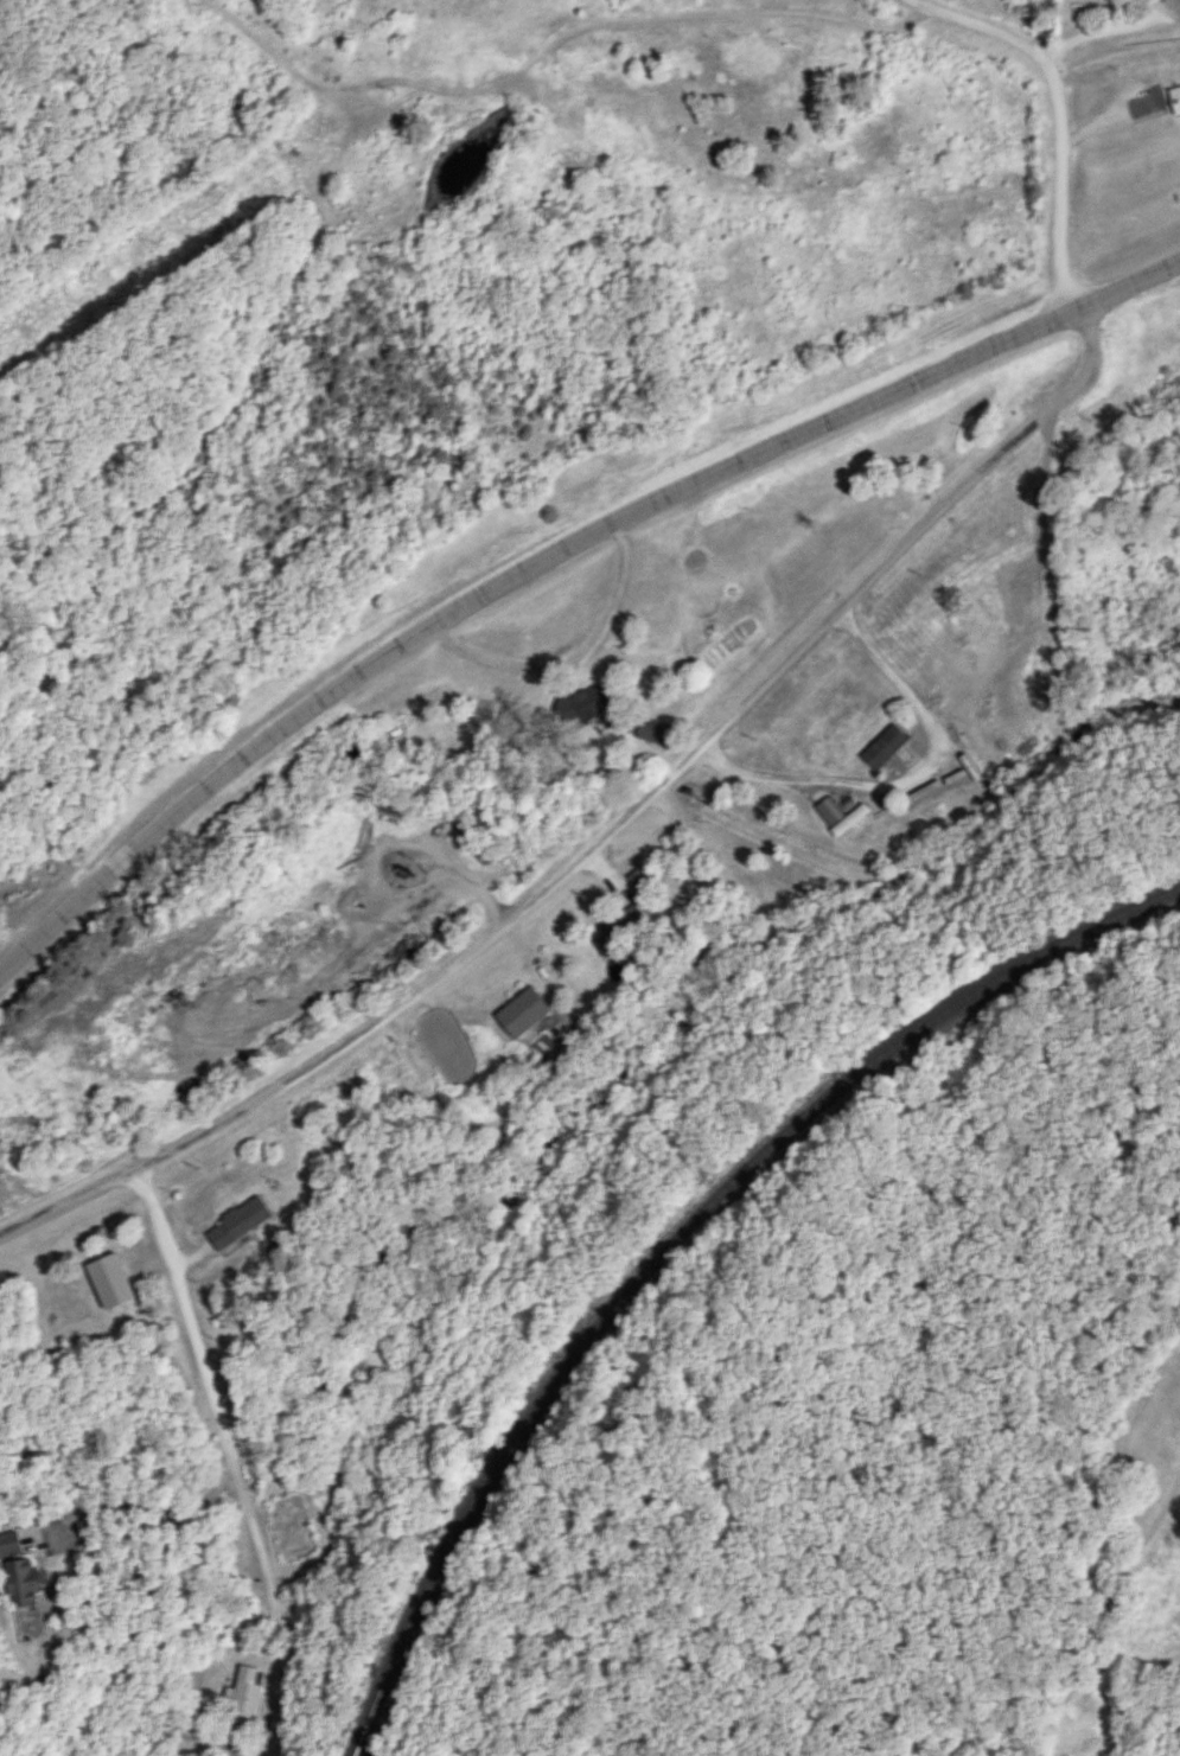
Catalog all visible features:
road: (721, 12)
road: (1109, 28)
building: (1174, 98)
road: (1066, 108)
road: (1102, 162)
road: (1050, 498)
road: (551, 557)
road: (574, 659)
building: (582, 702)
building: (651, 729)
building: (884, 746)
road: (920, 785)
building: (838, 815)
road: (608, 830)
road: (440, 879)
building: (642, 879)
building: (619, 927)
road: (312, 964)
building: (521, 1011)
building: (236, 1222)
railway: (677, 1235)
building: (108, 1279)
road: (229, 1458)
road: (1154, 1535)
building: (9, 1543)
building: (21, 1581)
building: (242, 1696)

